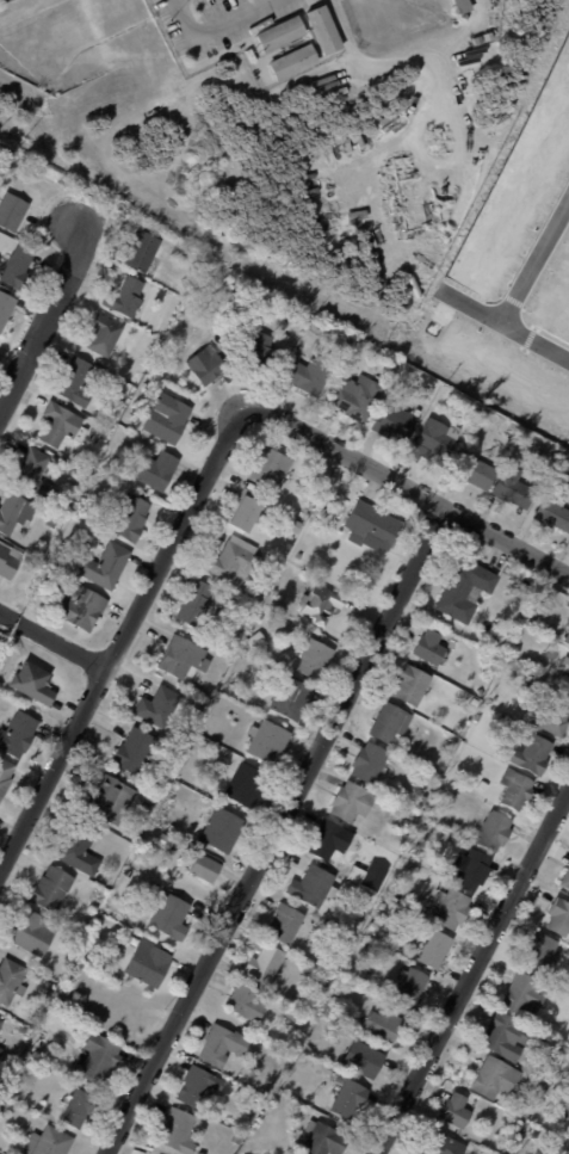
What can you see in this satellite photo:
building: (464, 6)
road: (216, 25)
building: (321, 30)
building: (278, 33)
building: (488, 37)
building: (477, 41)
building: (291, 62)
road: (414, 62)
building: (351, 87)
building: (14, 179)
building: (13, 212)
building: (144, 252)
building: (181, 252)
road: (537, 261)
building: (18, 269)
building: (129, 300)
building: (6, 308)
road: (49, 316)
road: (507, 323)
building: (317, 327)
building: (105, 335)
building: (261, 350)
building: (205, 368)
building: (310, 376)
building: (76, 382)
building: (358, 397)
building: (168, 419)
building: (396, 424)
building: (62, 425)
building: (437, 443)
building: (87, 463)
building: (271, 468)
building: (31, 469)
building: (159, 471)
building: (477, 473)
building: (514, 488)
road: (409, 489)
building: (50, 501)
building: (245, 510)
building: (16, 514)
building: (553, 516)
building: (131, 519)
building: (54, 522)
building: (372, 525)
building: (296, 526)
building: (87, 539)
building: (234, 560)
building: (8, 561)
building: (105, 567)
building: (466, 590)
building: (321, 603)
building: (197, 604)
building: (81, 609)
building: (568, 623)
road: (54, 637)
building: (568, 637)
building: (255, 640)
building: (458, 641)
road: (119, 646)
building: (431, 646)
building: (242, 654)
building: (183, 658)
building: (315, 659)
building: (565, 665)
building: (33, 683)
building: (567, 683)
building: (413, 684)
building: (292, 698)
building: (476, 701)
building: (159, 705)
building: (553, 716)
building: (478, 718)
building: (507, 720)
building: (391, 722)
building: (18, 733)
building: (180, 741)
building: (268, 741)
building: (194, 749)
building: (135, 751)
building: (532, 753)
building: (370, 761)
building: (5, 775)
building: (247, 785)
building: (483, 786)
building: (517, 789)
building: (456, 792)
building: (147, 794)
building: (111, 798)
building: (353, 801)
building: (147, 806)
building: (173, 828)
building: (495, 831)
building: (221, 832)
road: (279, 832)
building: (330, 839)
building: (457, 839)
building: (80, 847)
building: (206, 868)
building: (474, 869)
building: (130, 874)
building: (370, 875)
building: (567, 880)
building: (315, 887)
building: (52, 888)
building: (366, 896)
building: (384, 907)
building: (452, 908)
building: (171, 915)
building: (559, 917)
building: (285, 922)
building: (373, 926)
building: (35, 932)
building: (345, 936)
building: (75, 940)
building: (437, 949)
building: (542, 952)
building: (267, 962)
building: (149, 963)
road: (474, 973)
building: (11, 980)
building: (412, 987)
building: (48, 992)
building: (525, 994)
building: (247, 1001)
building: (293, 1014)
building: (1, 1023)
building: (385, 1025)
building: (508, 1036)
building: (223, 1044)
building: (0, 1049)
building: (365, 1059)
building: (98, 1061)
building: (496, 1078)
building: (340, 1079)
building: (542, 1085)
building: (199, 1086)
building: (350, 1098)
building: (79, 1107)
building: (457, 1110)
building: (521, 1123)
building: (178, 1130)
building: (537, 1134)
building: (239, 1137)
building: (326, 1141)
building: (49, 1142)
building: (248, 1143)
building: (445, 1146)
building: (200, 1153)

